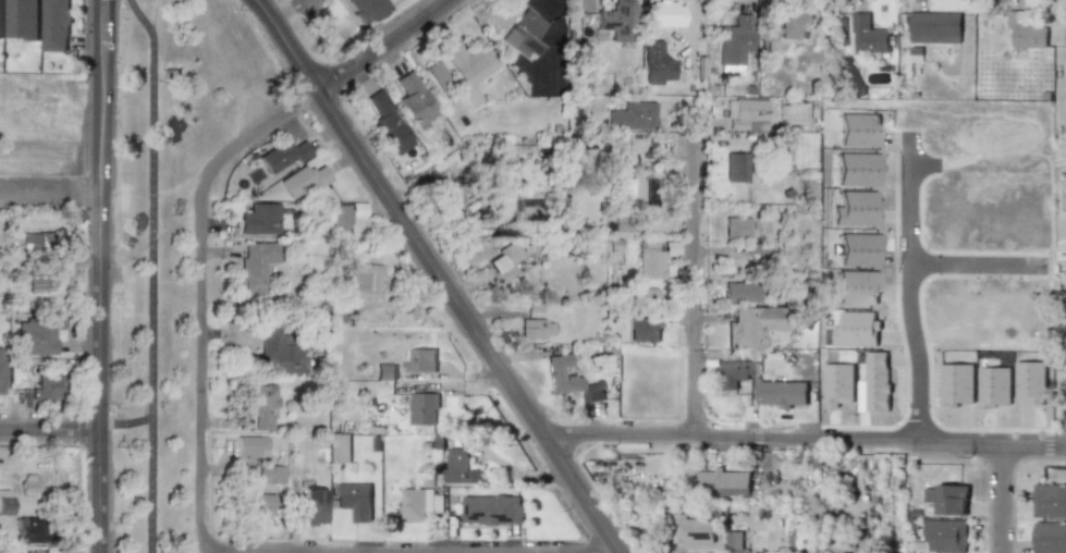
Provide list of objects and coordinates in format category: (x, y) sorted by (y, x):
road: (283, 9)
building: (365, 9)
building: (658, 11)
building: (0, 16)
building: (21, 20)
building: (615, 20)
building: (56, 24)
building: (785, 26)
building: (934, 26)
building: (1025, 30)
building: (523, 34)
building: (865, 34)
building: (1065, 37)
building: (734, 40)
road: (286, 45)
road: (387, 46)
building: (654, 63)
building: (468, 66)
building: (413, 99)
building: (745, 114)
building: (632, 115)
building: (388, 122)
building: (857, 128)
building: (282, 155)
building: (735, 167)
building: (856, 168)
building: (301, 180)
building: (637, 186)
road: (48, 197)
building: (448, 197)
building: (855, 209)
building: (336, 217)
building: (258, 219)
building: (736, 228)
building: (29, 242)
building: (856, 247)
road: (942, 251)
building: (470, 255)
building: (652, 257)
building: (502, 258)
building: (255, 265)
road: (976, 265)
road: (691, 271)
road: (151, 273)
road: (97, 276)
building: (364, 280)
road: (907, 285)
building: (855, 287)
building: (739, 292)
building: (644, 293)
road: (203, 295)
building: (942, 303)
road: (896, 318)
road: (466, 322)
building: (752, 324)
building: (644, 328)
building: (535, 329)
building: (856, 329)
building: (36, 336)
building: (277, 349)
road: (927, 349)
building: (420, 359)
building: (1, 370)
building: (384, 371)
building: (733, 373)
building: (560, 374)
building: (878, 382)
building: (837, 383)
building: (46, 390)
building: (592, 392)
building: (782, 392)
building: (259, 404)
building: (422, 407)
road: (48, 429)
road: (801, 438)
building: (250, 445)
building: (338, 447)
building: (460, 467)
building: (269, 474)
building: (721, 482)
building: (28, 486)
road: (1004, 496)
building: (947, 497)
building: (355, 500)
building: (1049, 500)
building: (5, 502)
building: (419, 503)
building: (258, 504)
building: (310, 506)
building: (491, 508)
building: (691, 529)
building: (29, 530)
building: (944, 534)
building: (1050, 537)
building: (733, 540)
road: (255, 552)

